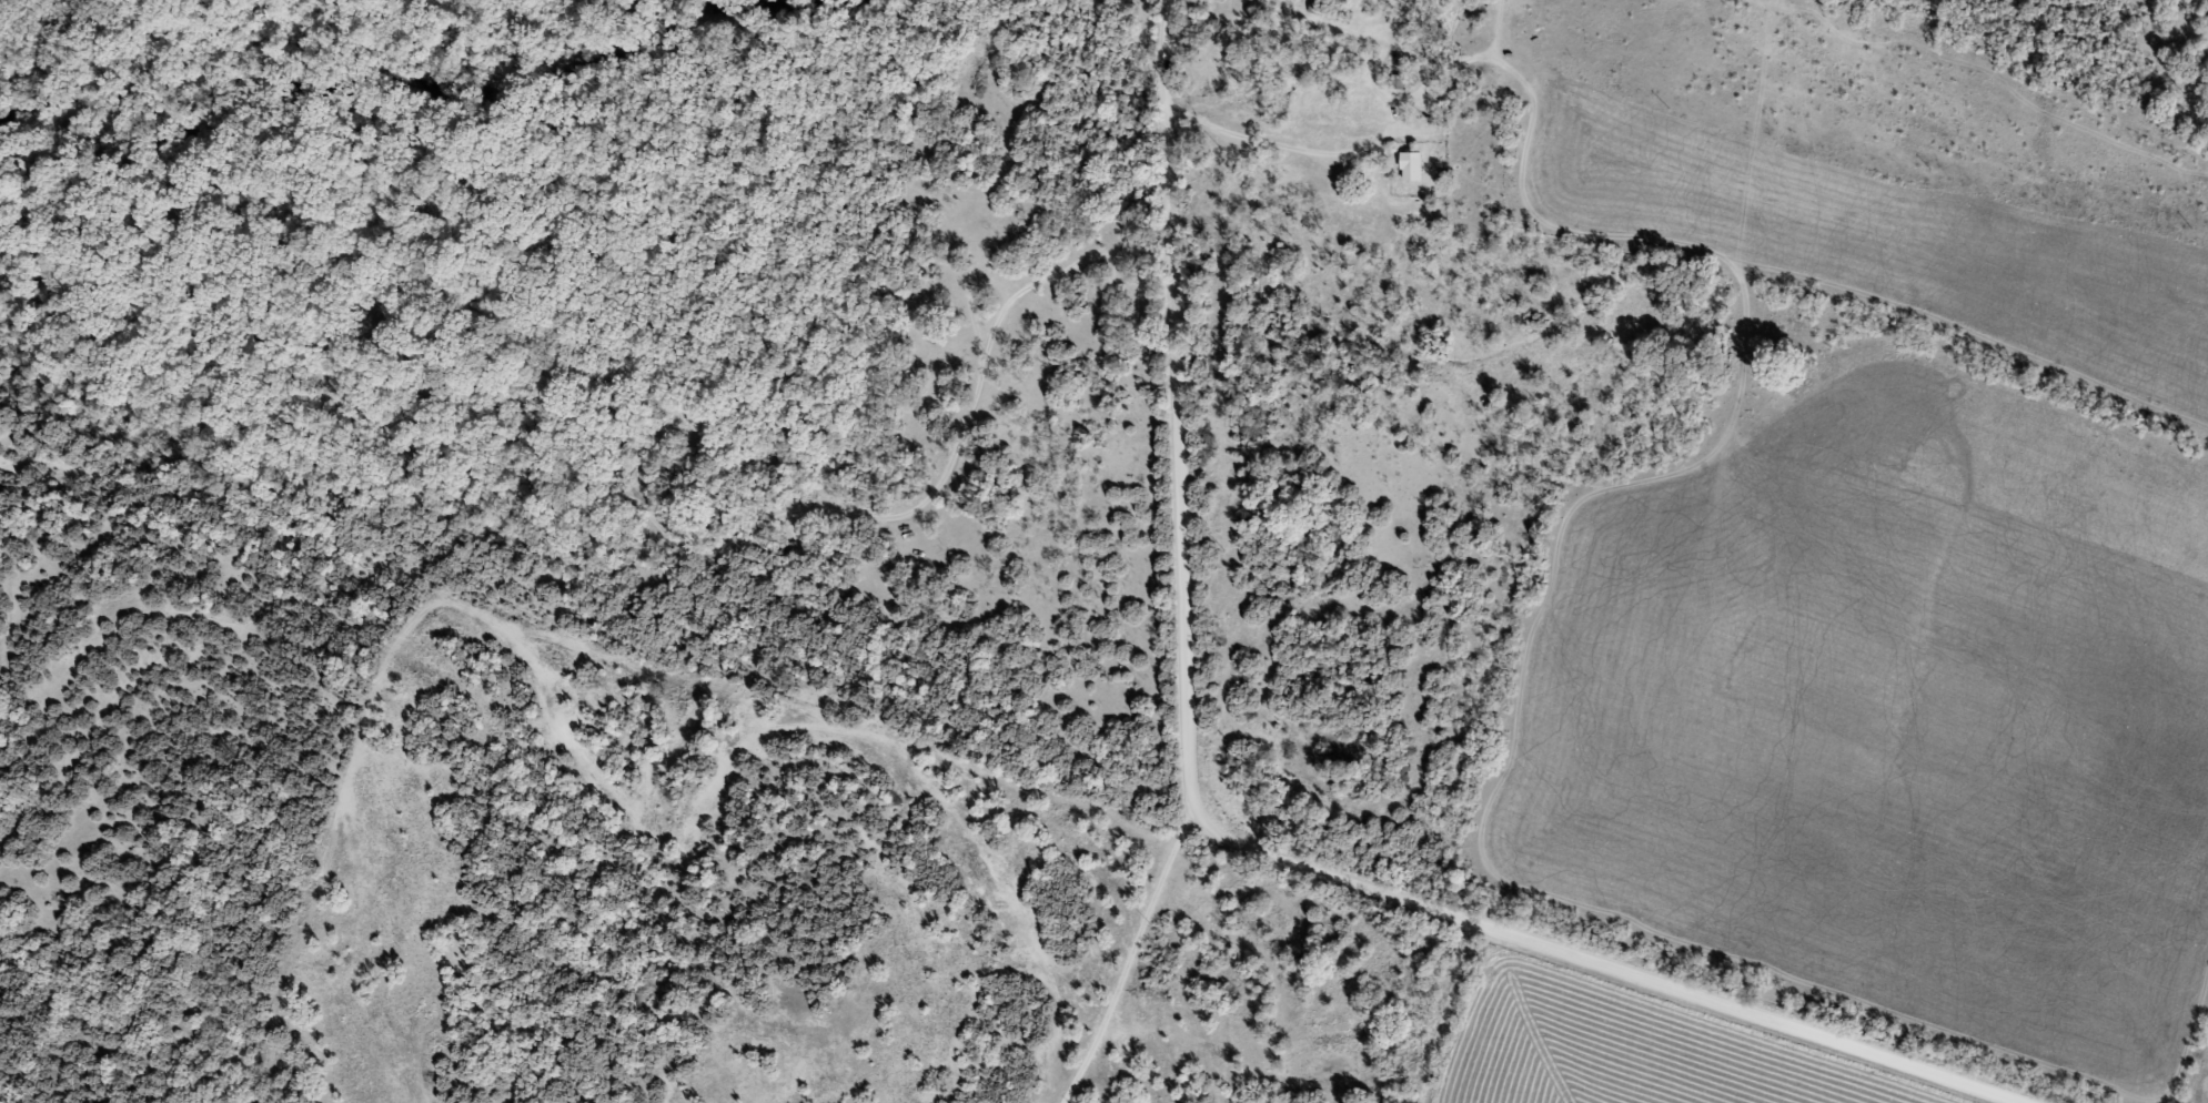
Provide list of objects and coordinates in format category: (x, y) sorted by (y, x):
road: (1157, 62)
building: (1412, 168)
road: (1254, 857)
building: (1041, 924)

